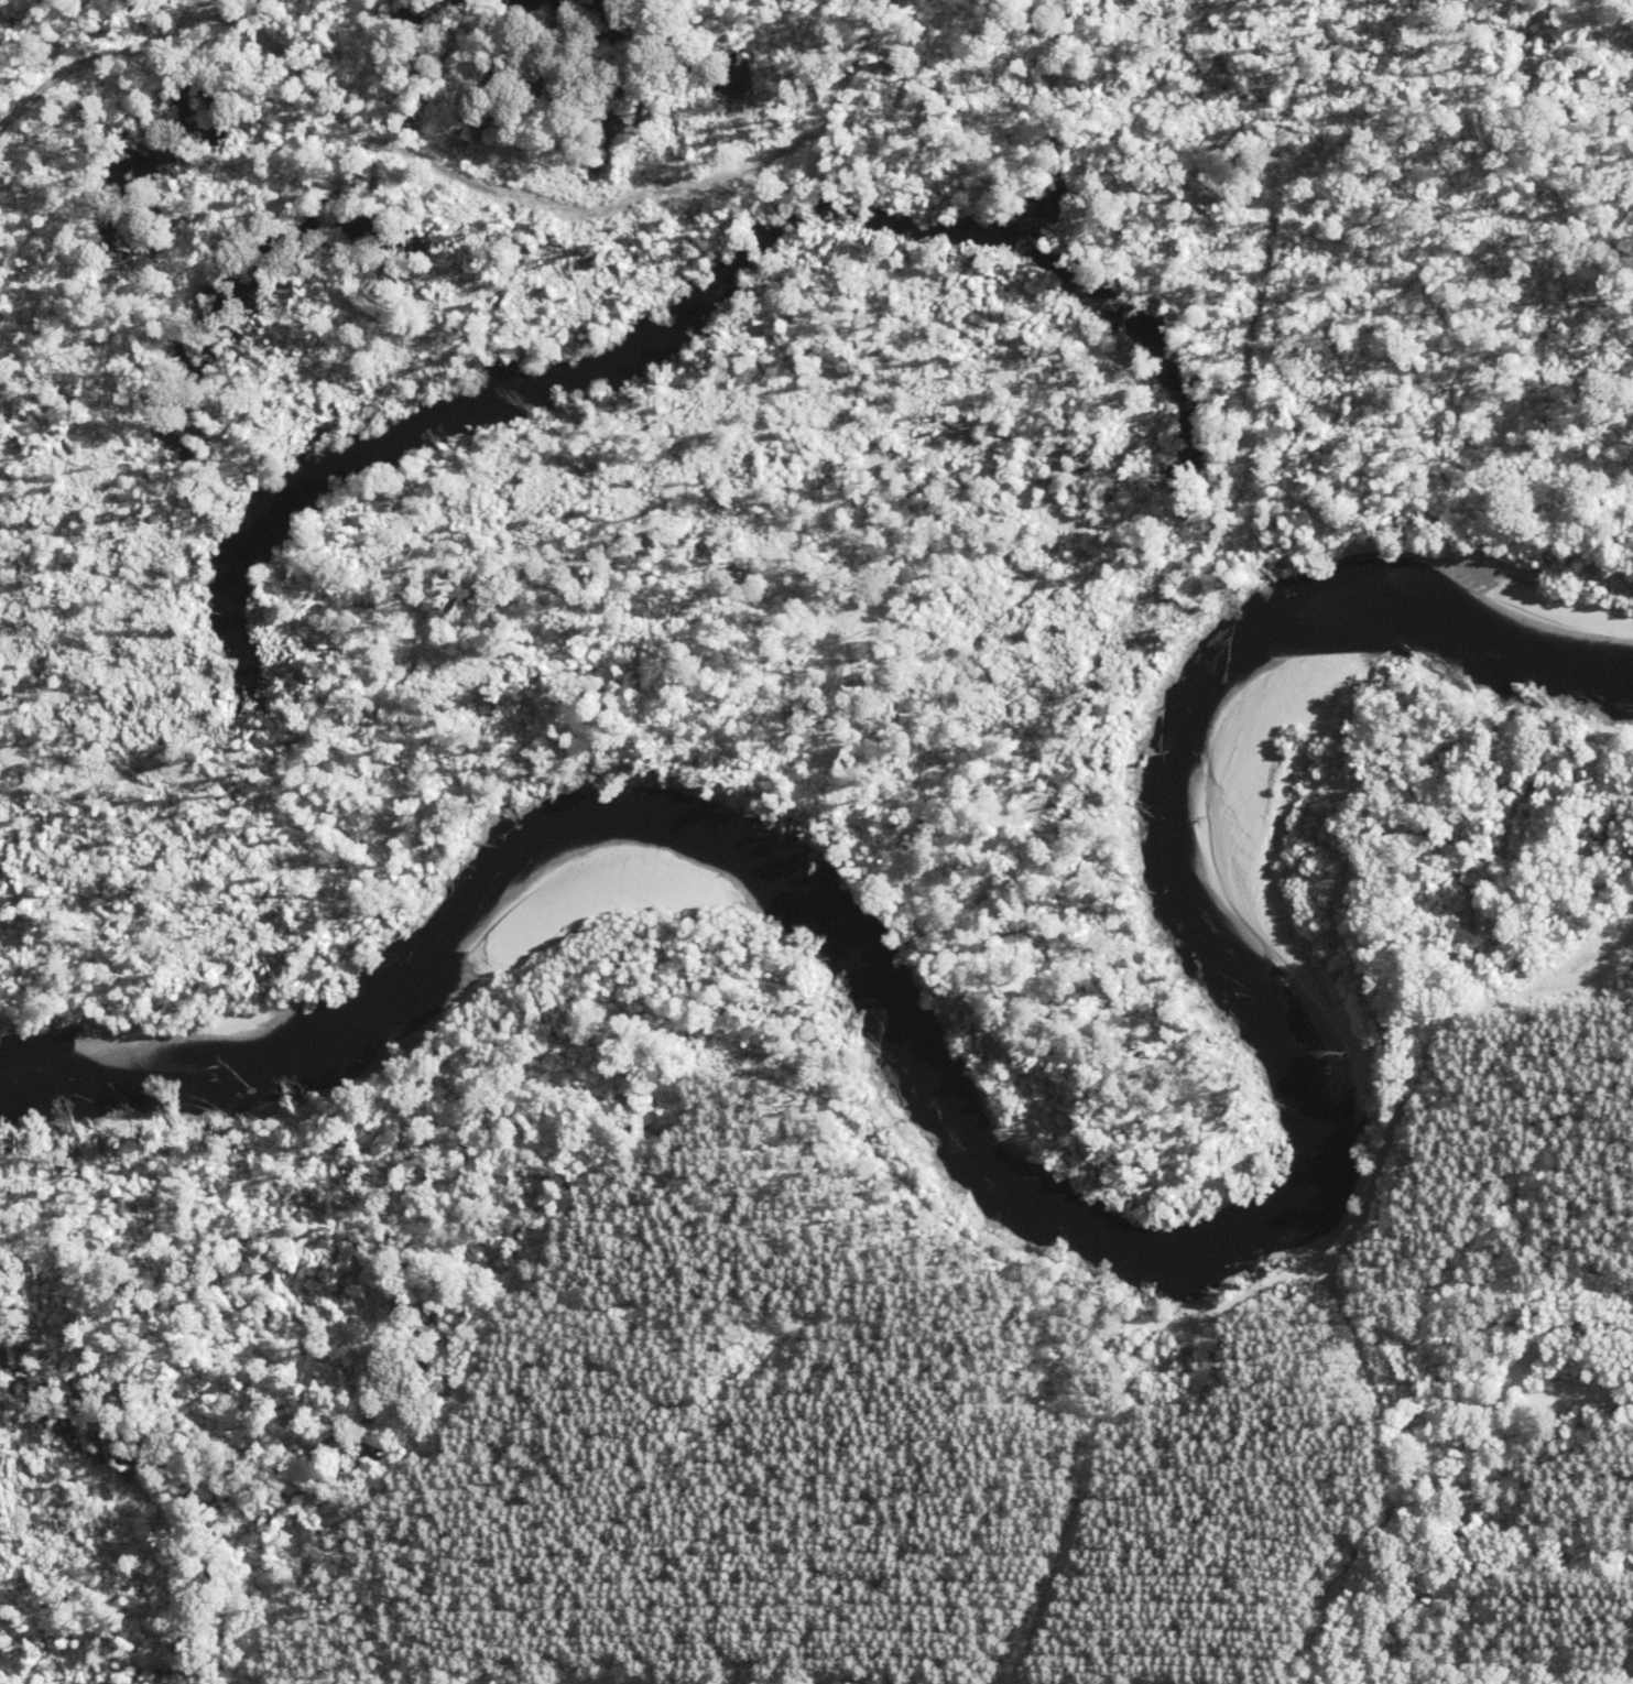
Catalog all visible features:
river: (1006, 1112)

